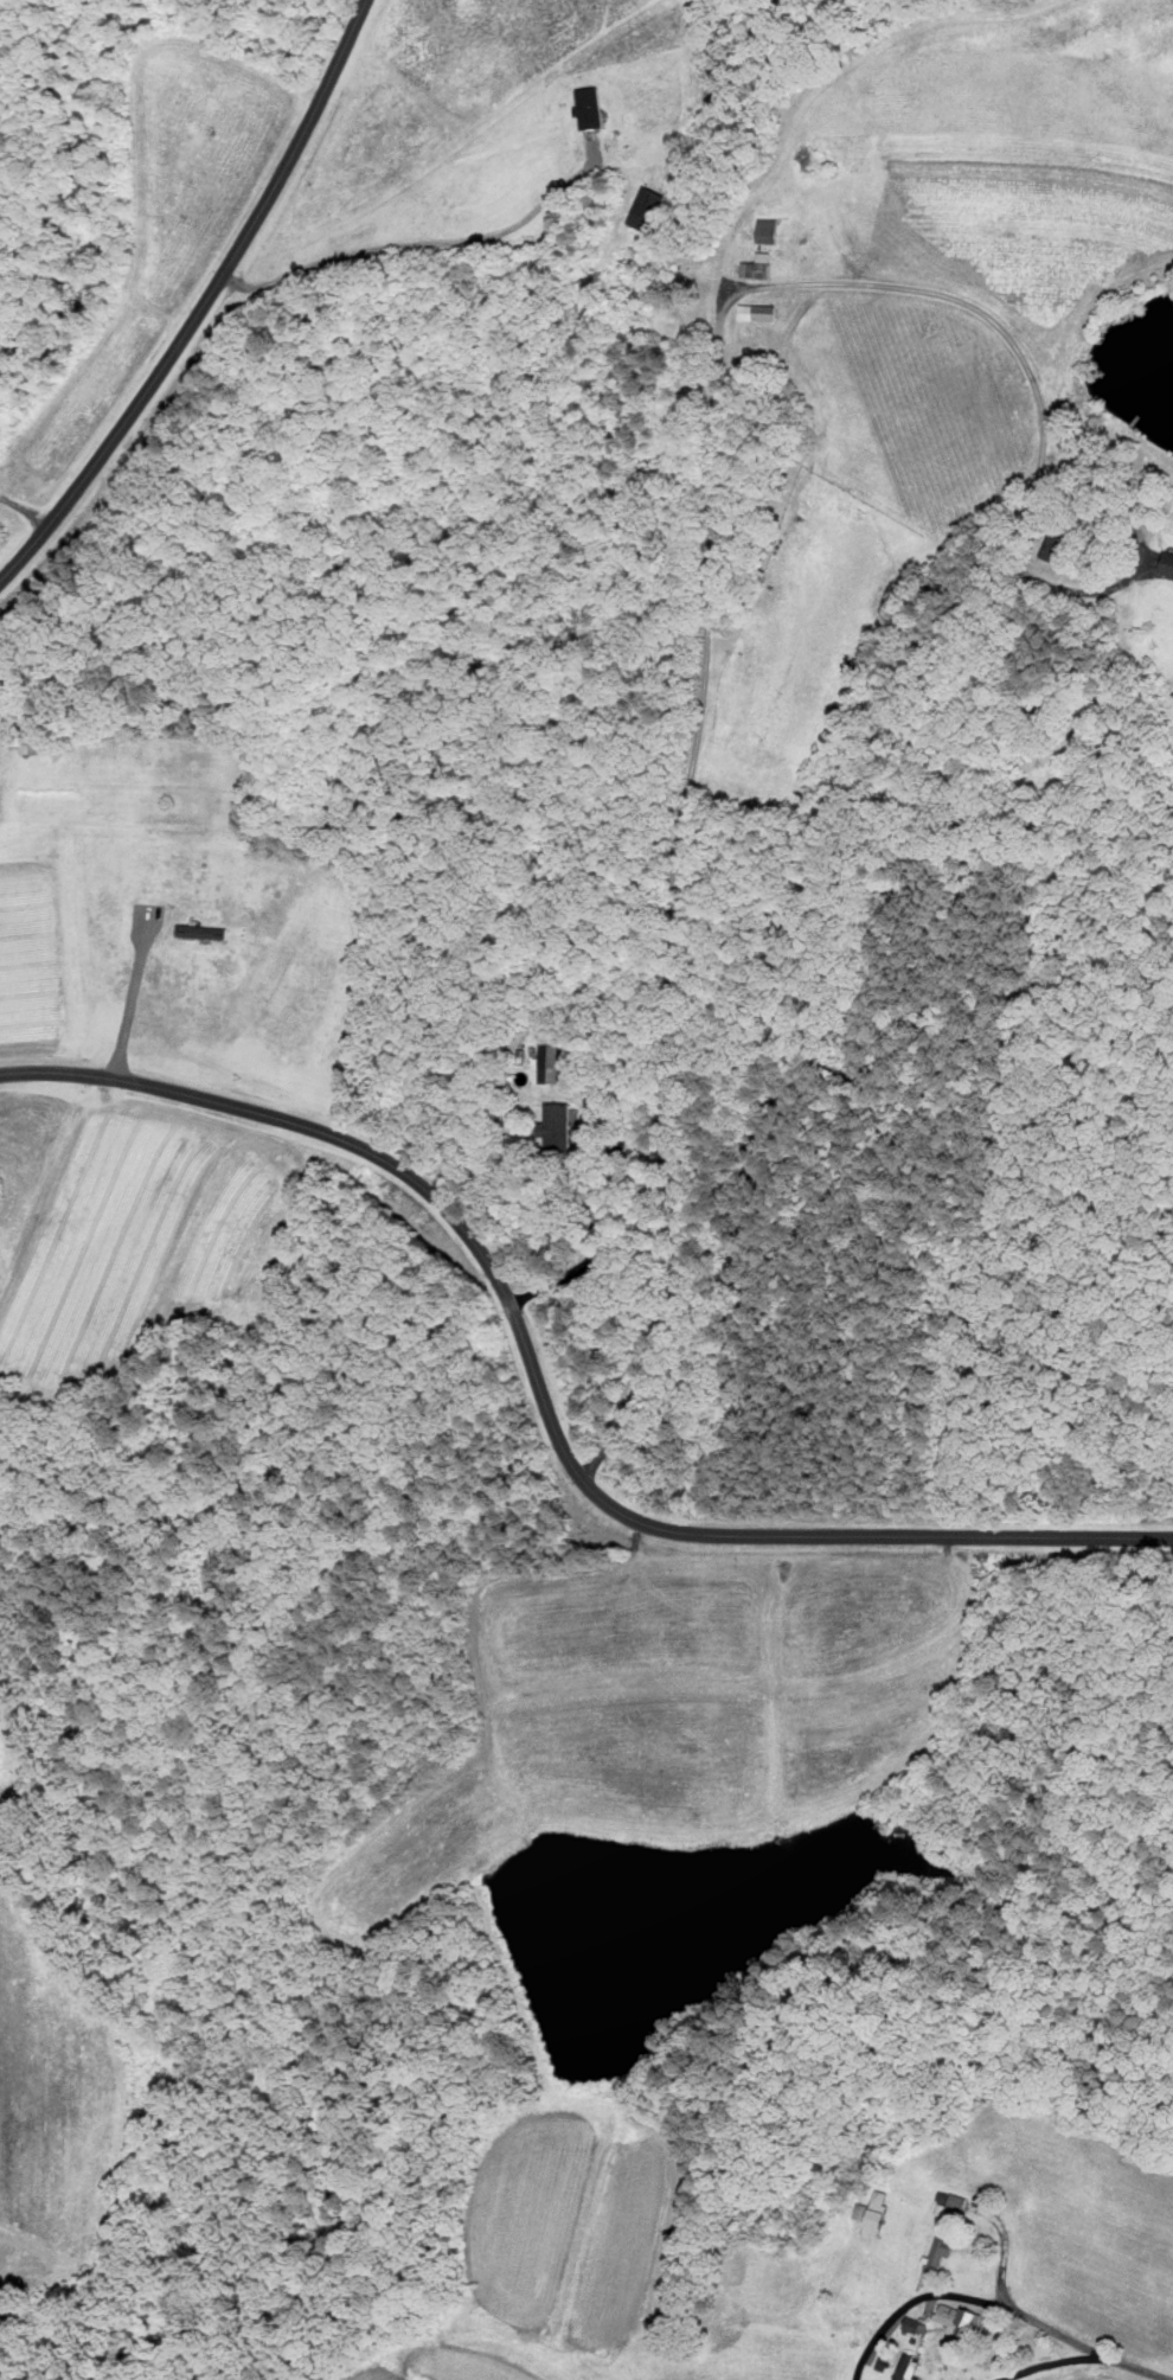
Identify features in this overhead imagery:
building: (588, 107)
building: (643, 209)
building: (761, 231)
road: (417, 243)
building: (755, 267)
road: (204, 302)
building: (756, 312)
pier: (1134, 421)
road: (713, 467)
building: (1055, 543)
building: (1166, 563)
building: (30, 738)
road: (7, 794)
building: (203, 932)
road: (129, 1012)
building: (546, 1054)
building: (568, 1057)
building: (596, 1092)
building: (557, 1125)
building: (617, 1147)
road: (659, 1160)
road: (544, 1399)
building: (951, 2201)
building: (872, 2214)
building: (941, 2251)
road: (960, 2293)
building: (957, 2321)
road: (1049, 2363)
road: (1134, 2367)

